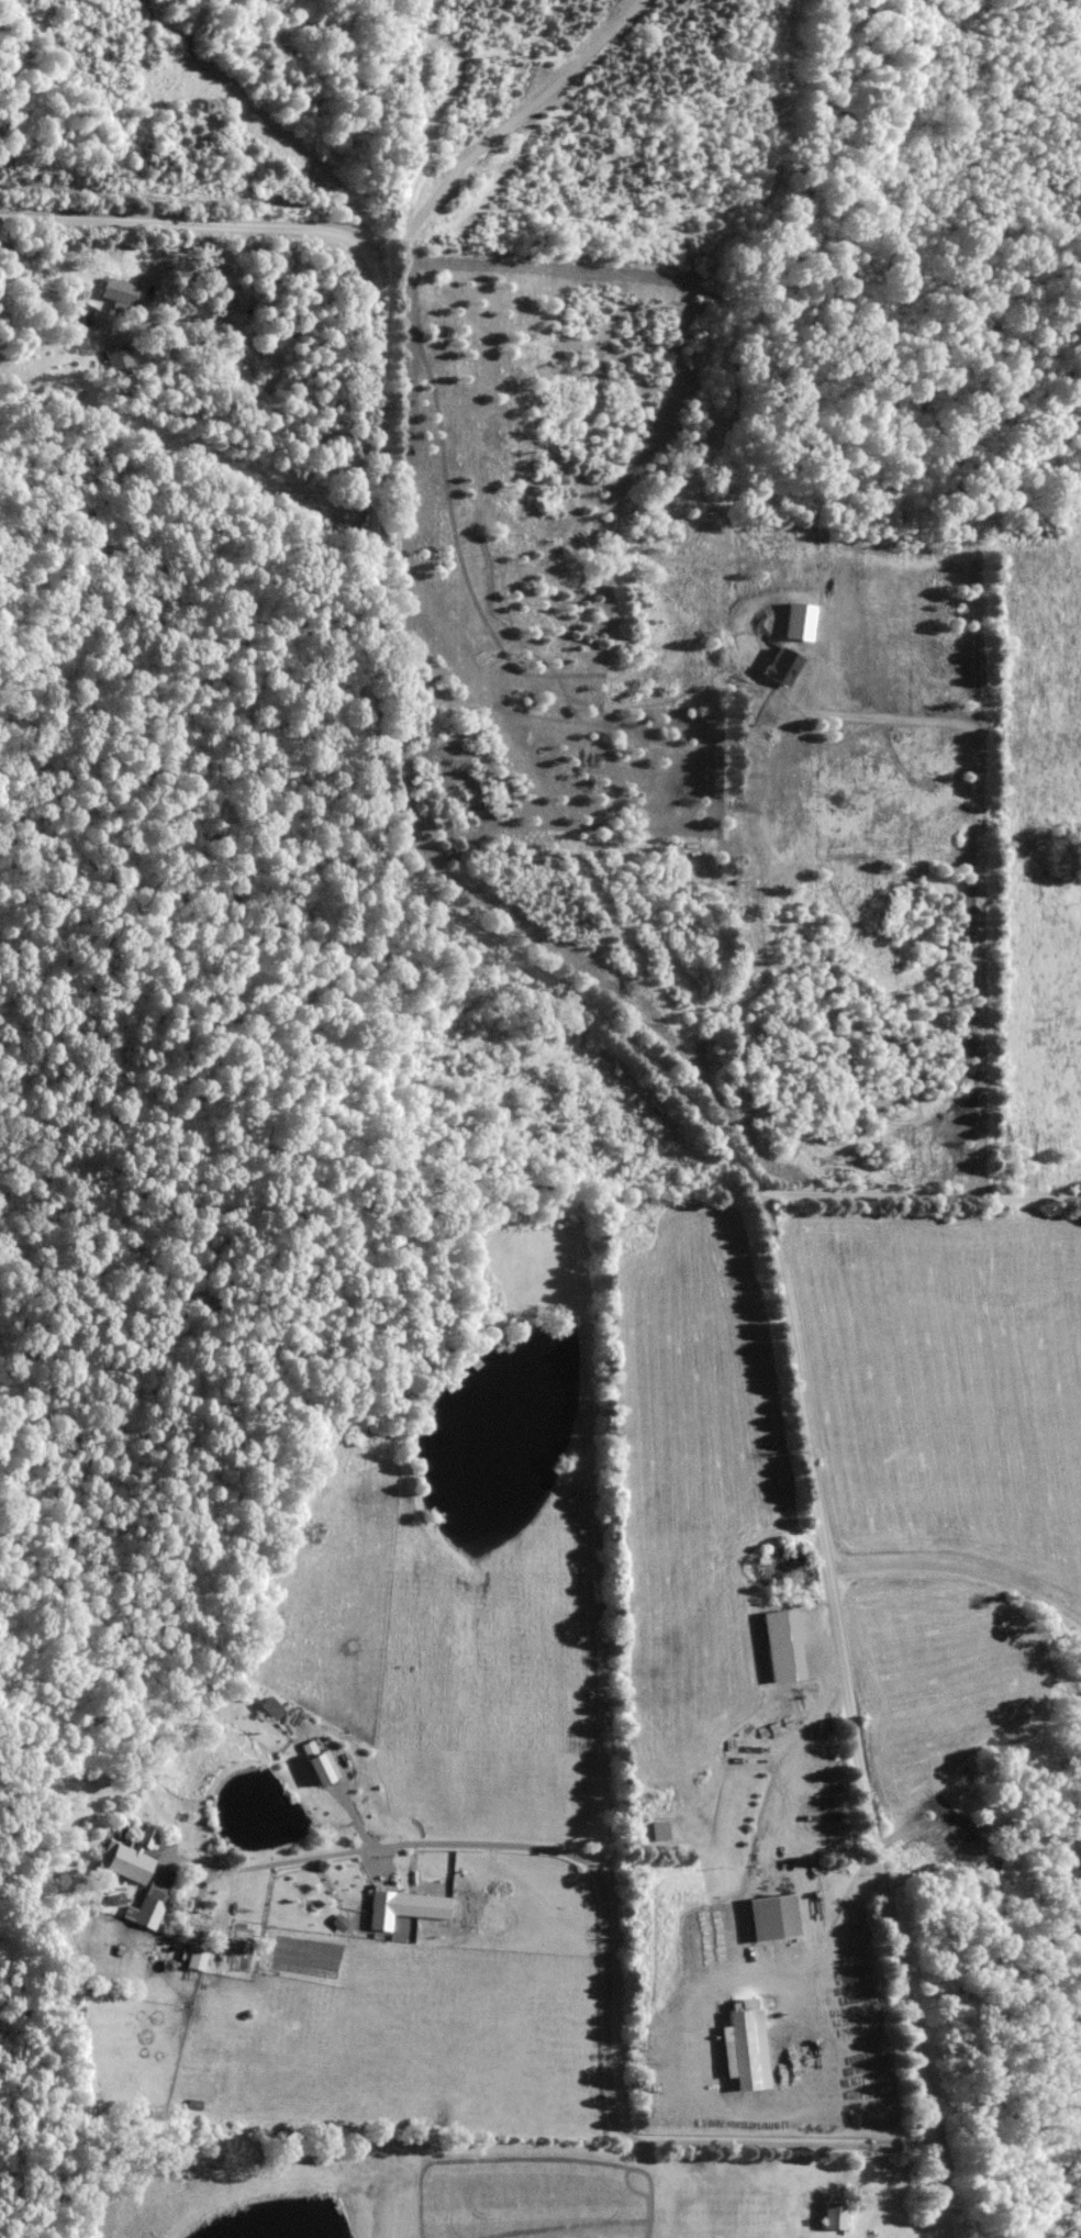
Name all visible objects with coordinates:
building: (120, 291)
building: (78, 316)
building: (119, 363)
road: (610, 1048)
road: (911, 1192)
road: (960, 1570)
building: (322, 1769)
building: (659, 1833)
building: (123, 1864)
building: (152, 1906)
building: (776, 1918)
building: (700, 1938)
road: (608, 1953)
building: (197, 1959)
building: (744, 2048)
building: (834, 2217)

